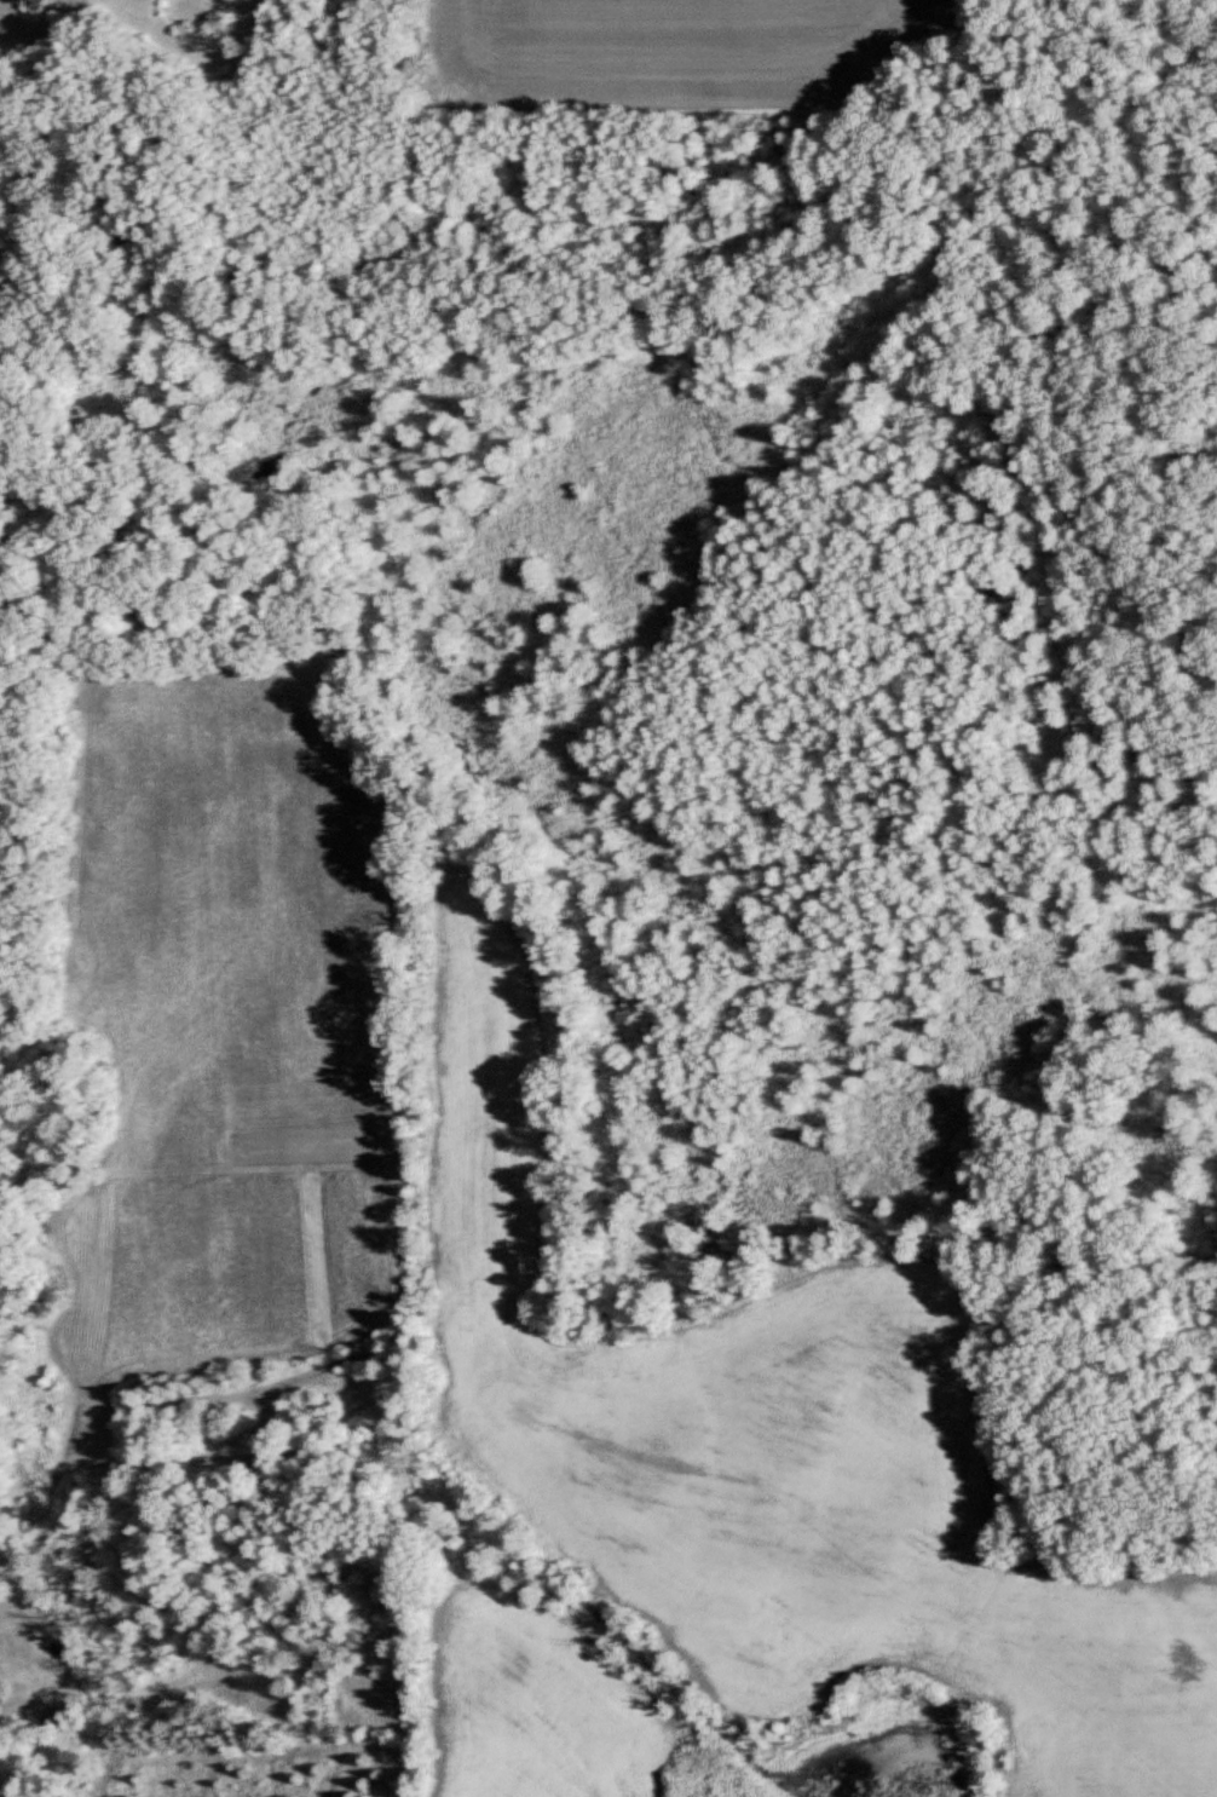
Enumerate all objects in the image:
building: (38, 2)

